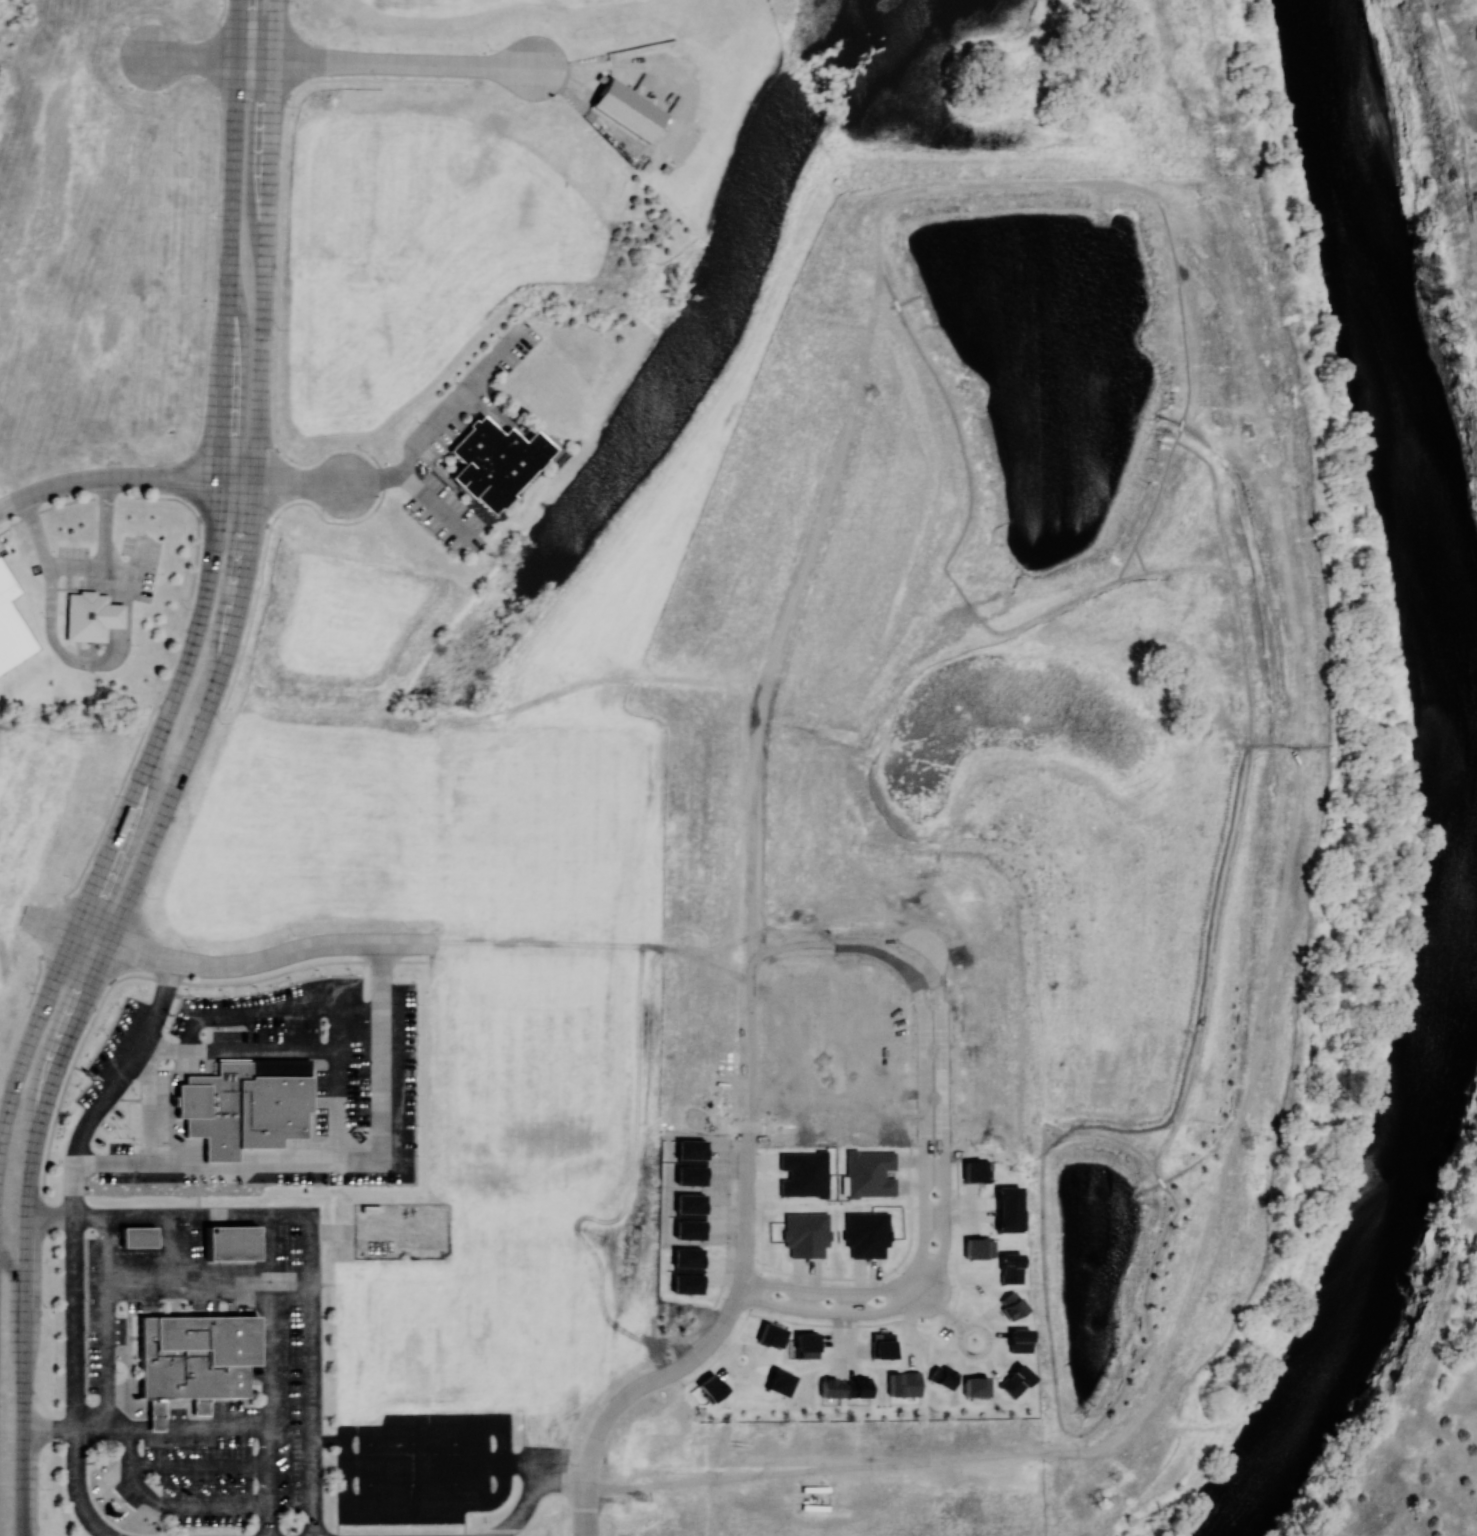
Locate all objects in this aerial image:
road: (210, 56)
road: (405, 63)
building: (627, 109)
park: (1438, 175)
road: (443, 419)
building: (490, 464)
road: (124, 477)
road: (305, 485)
road: (439, 507)
road: (101, 517)
road: (35, 529)
road: (76, 565)
road: (205, 592)
building: (110, 615)
building: (81, 617)
building: (11, 627)
road: (180, 776)
river: (1457, 789)
road: (226, 967)
road: (337, 1001)
road: (185, 1052)
park: (1474, 1089)
building: (245, 1104)
road: (934, 1145)
road: (338, 1166)
building: (869, 1173)
building: (1006, 1209)
road: (50, 1217)
building: (138, 1234)
road: (332, 1237)
road: (73, 1238)
building: (233, 1242)
road: (175, 1253)
road: (309, 1262)
building: (1009, 1268)
road: (18, 1283)
road: (208, 1285)
road: (903, 1291)
road: (903, 1300)
building: (1011, 1304)
road: (942, 1310)
road: (108, 1326)
building: (770, 1335)
building: (1018, 1340)
road: (962, 1349)
road: (697, 1352)
building: (199, 1354)
building: (941, 1376)
road: (269, 1379)
building: (1014, 1380)
building: (778, 1382)
building: (903, 1384)
building: (974, 1386)
building: (203, 1406)
building: (158, 1413)
road: (192, 1432)
road: (50, 1435)
road: (327, 1445)
road: (344, 1468)
road: (199, 1469)
road: (447, 1469)
road: (537, 1496)
road: (170, 1510)

